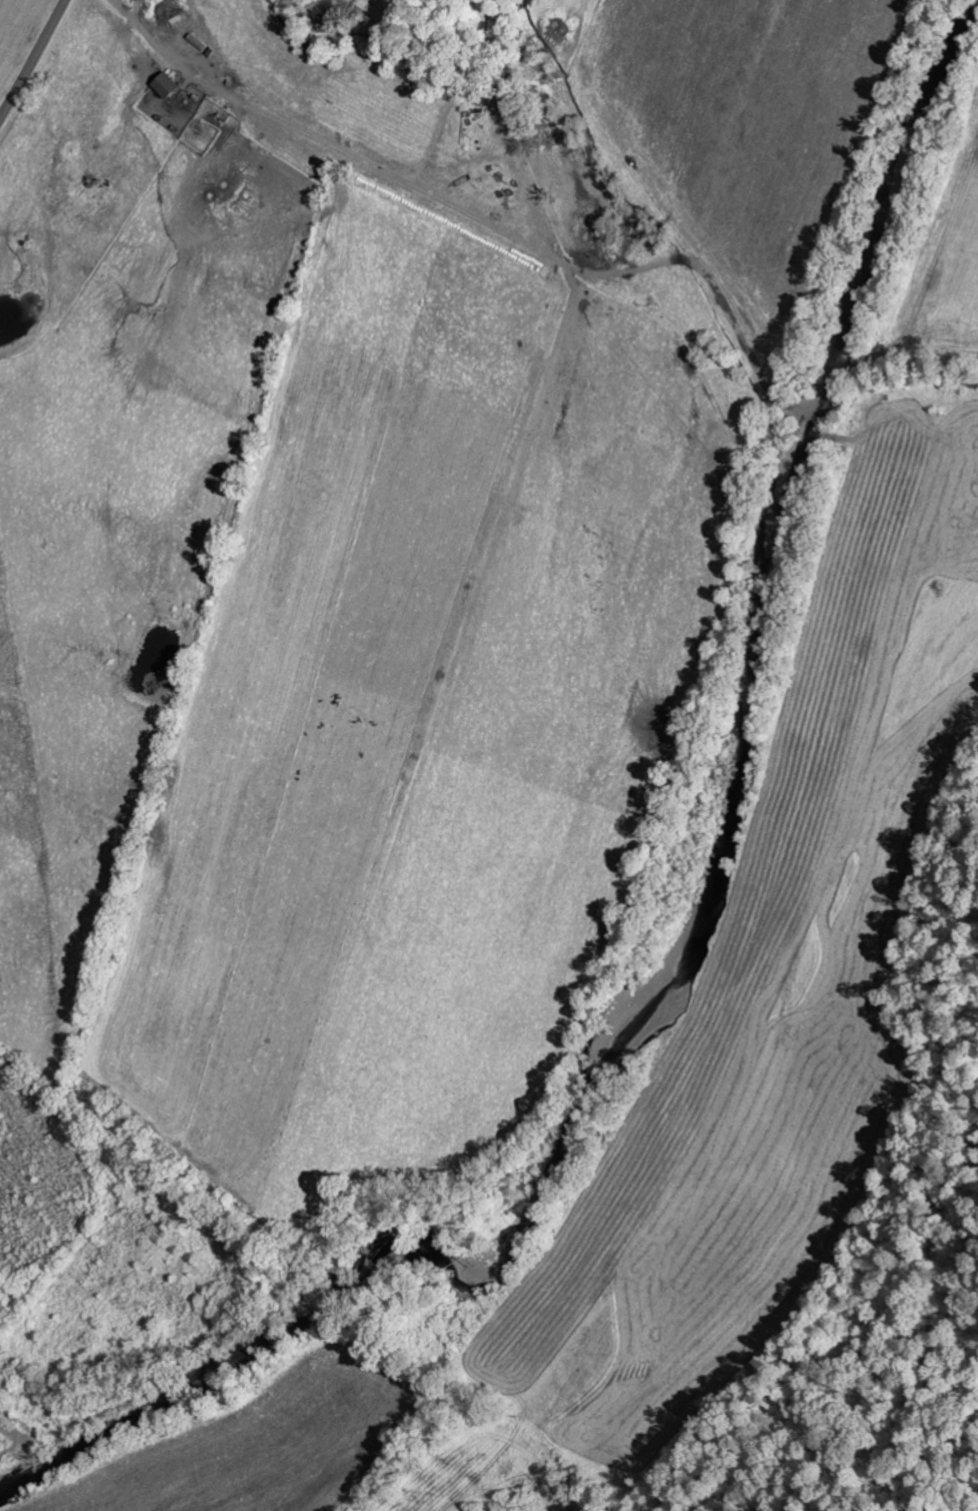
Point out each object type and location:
road: (31, 56)

